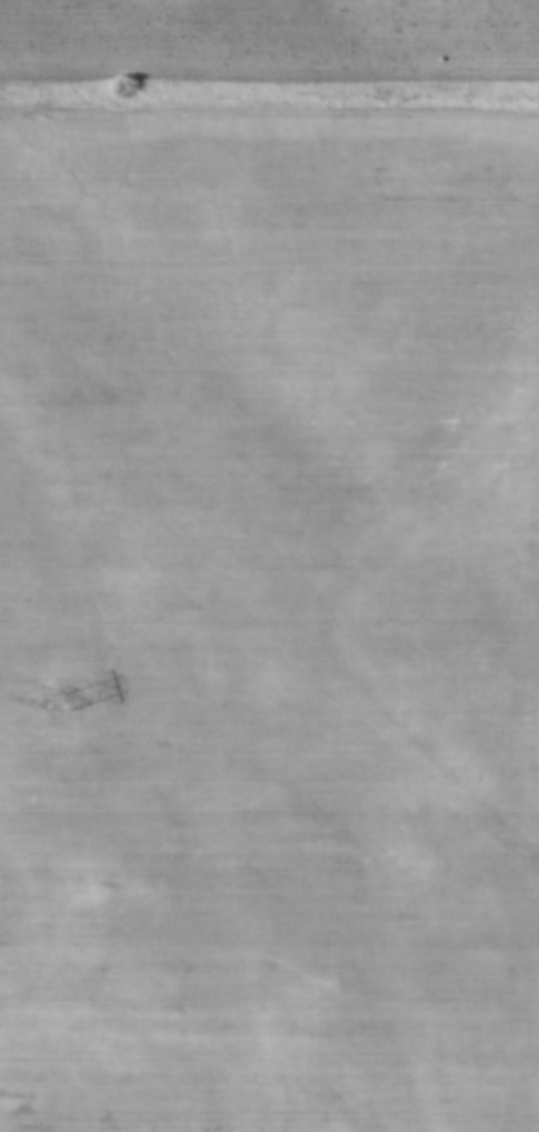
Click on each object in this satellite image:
power tower: (70, 699)

